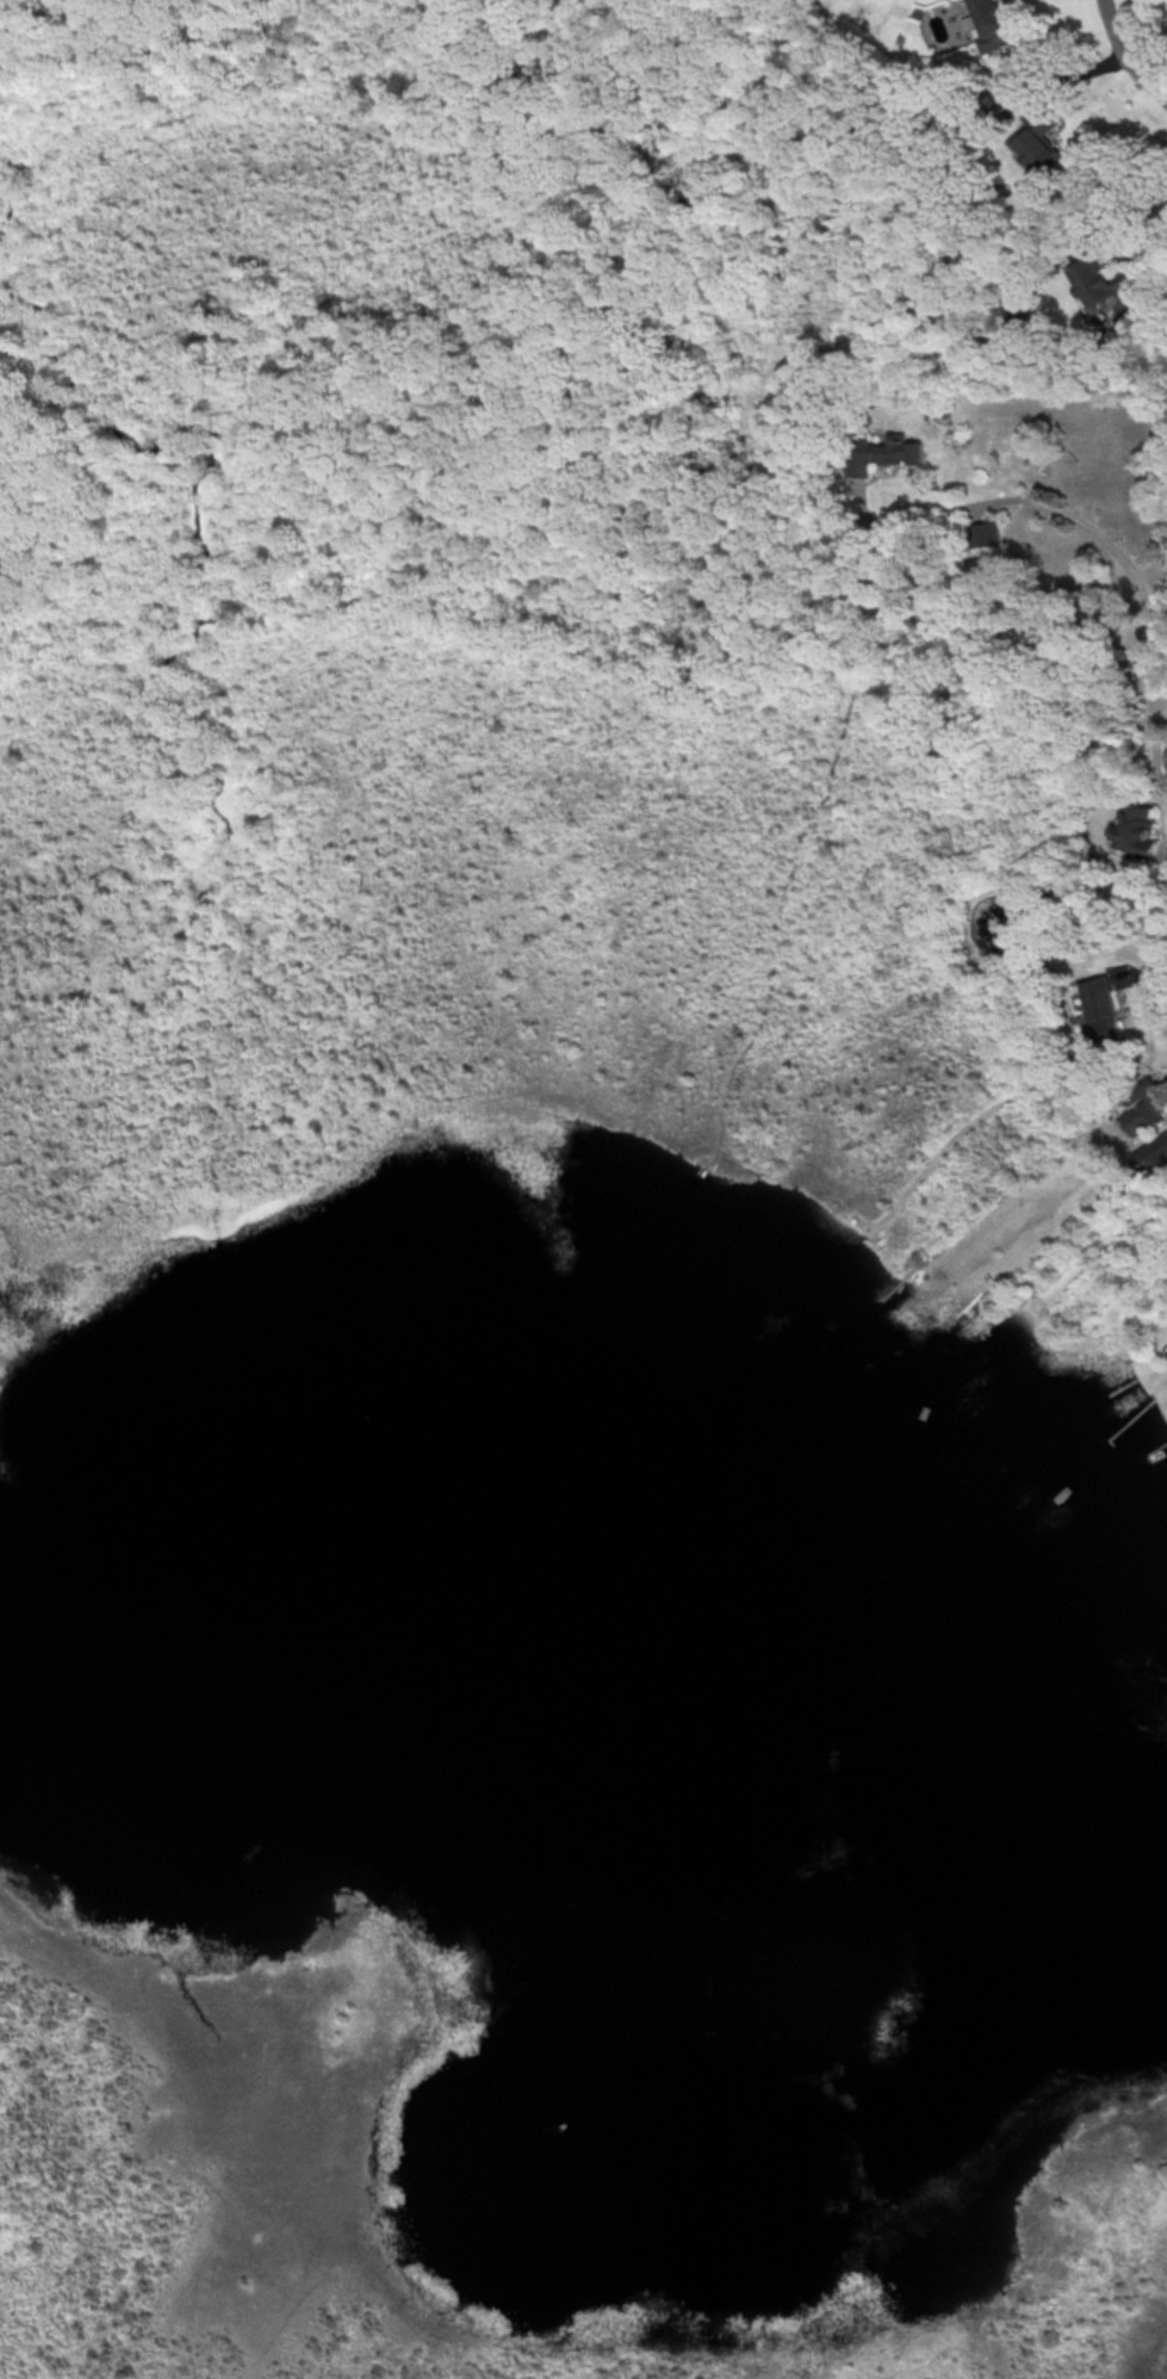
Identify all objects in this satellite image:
building: (993, 25)
road: (1124, 56)
building: (1036, 141)
road: (544, 196)
road: (1152, 236)
road: (472, 495)
road: (1088, 529)
building: (983, 533)
road: (865, 570)
road: (873, 631)
building: (1138, 829)
pier: (777, 911)
building: (1103, 1008)
building: (1144, 1108)
building: (1154, 1154)
park: (474, 1272)
river: (603, 1622)

